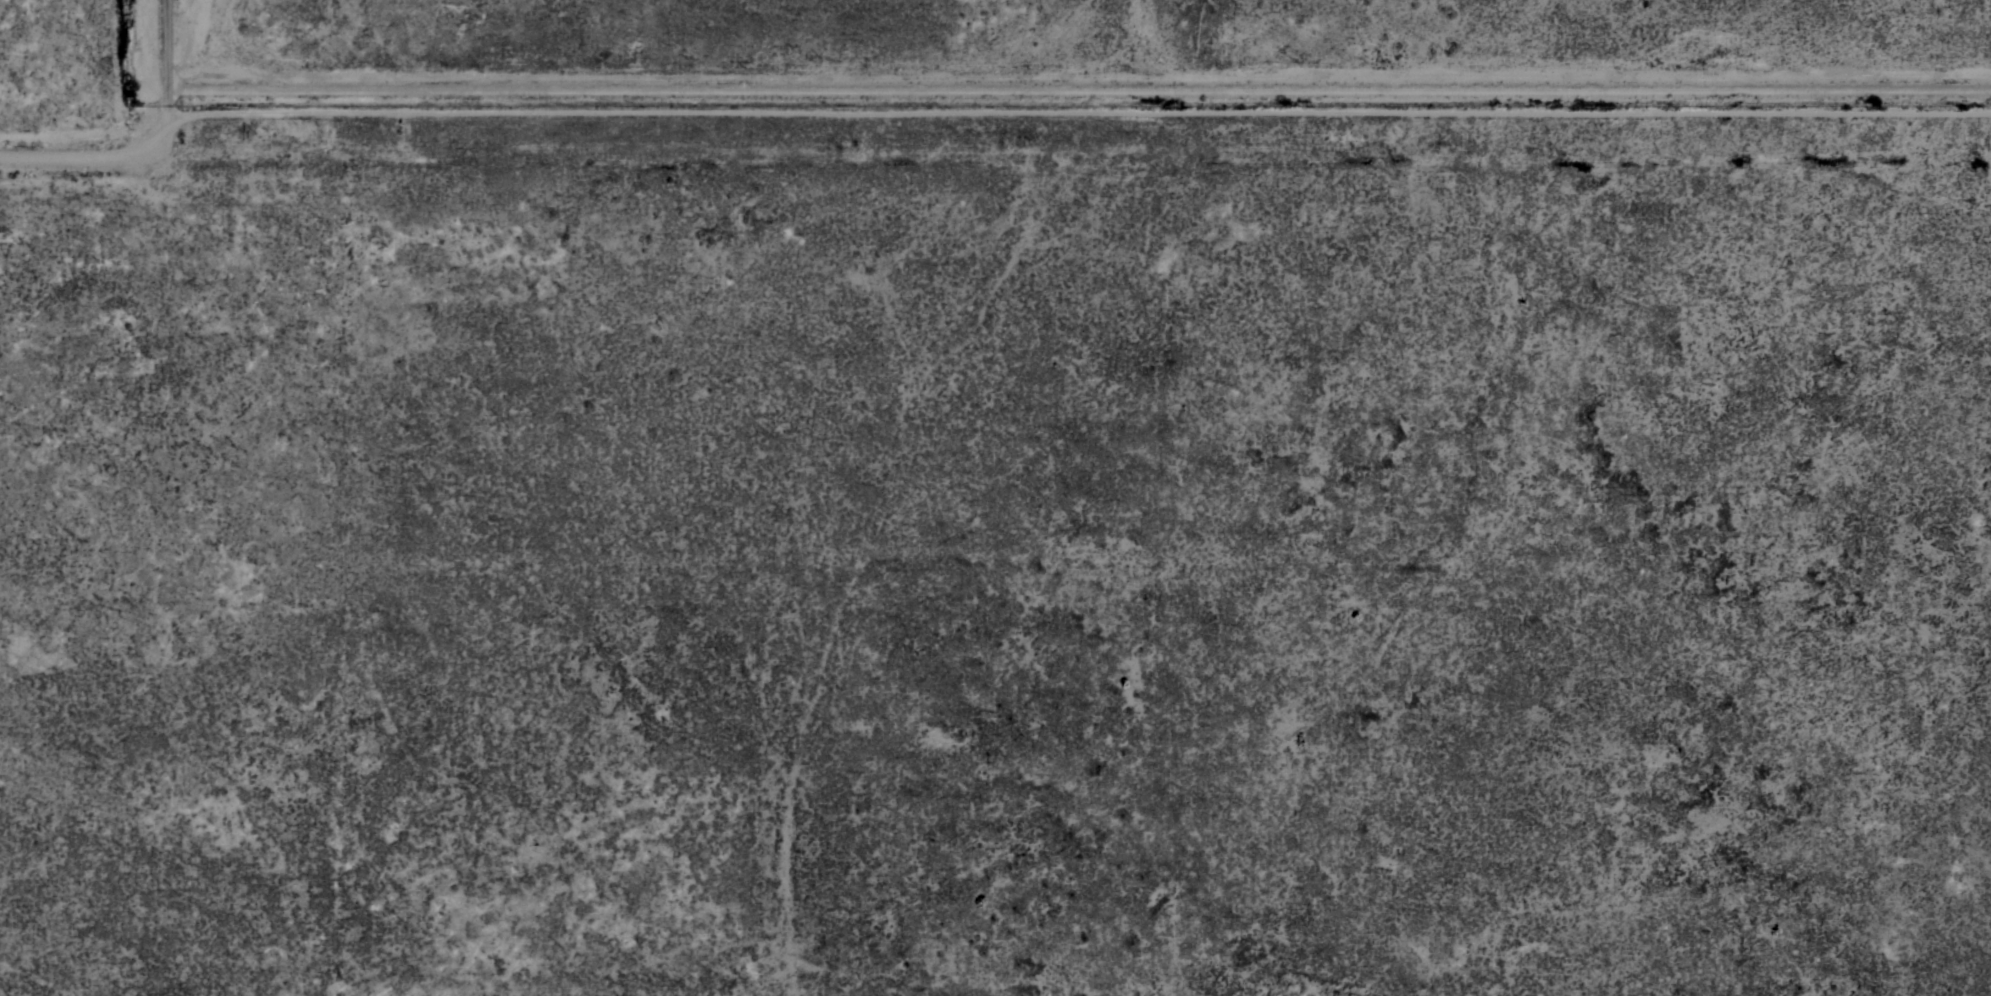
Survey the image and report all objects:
road: (1081, 114)
road: (159, 155)

